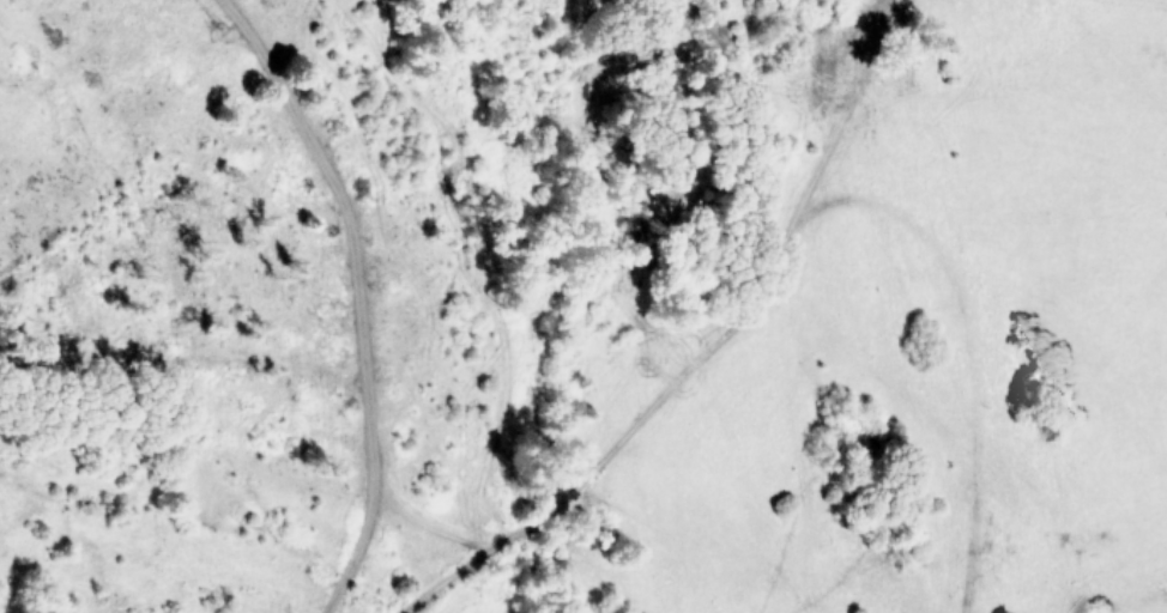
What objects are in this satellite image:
power tower: (225, 57)
road: (361, 292)
road: (714, 353)

